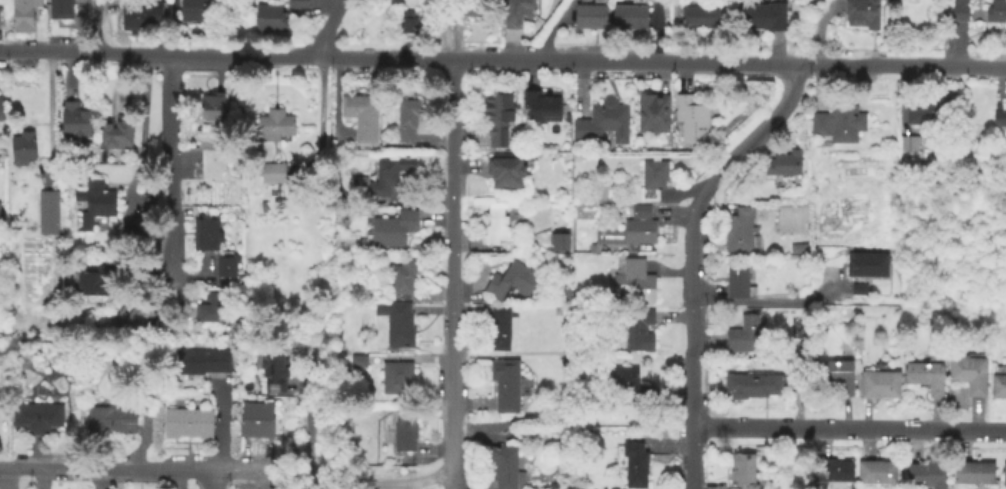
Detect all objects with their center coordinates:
building: (296, 4)
building: (476, 6)
building: (59, 8)
building: (194, 9)
building: (959, 9)
building: (996, 10)
building: (515, 12)
building: (861, 12)
building: (139, 13)
building: (22, 14)
building: (589, 14)
building: (699, 14)
building: (0, 15)
building: (628, 15)
building: (764, 15)
building: (268, 17)
building: (407, 20)
road: (99, 27)
road: (328, 27)
road: (821, 29)
road: (158, 55)
road: (661, 61)
building: (125, 99)
building: (541, 104)
building: (211, 105)
building: (1, 108)
building: (927, 111)
building: (652, 113)
building: (361, 114)
building: (497, 116)
building: (406, 117)
building: (998, 117)
road: (49, 118)
building: (690, 118)
building: (75, 120)
building: (601, 121)
building: (838, 121)
building: (274, 123)
building: (116, 134)
building: (908, 141)
building: (22, 147)
building: (238, 156)
building: (579, 157)
building: (987, 157)
building: (783, 162)
building: (272, 170)
building: (505, 170)
building: (653, 172)
building: (390, 174)
road: (136, 179)
road: (169, 195)
building: (92, 201)
building: (45, 211)
building: (128, 226)
building: (393, 226)
building: (630, 226)
building: (495, 228)
building: (740, 229)
building: (205, 232)
building: (558, 241)
building: (591, 247)
building: (797, 247)
road: (692, 259)
building: (865, 262)
building: (225, 265)
road: (452, 273)
building: (402, 277)
building: (634, 278)
building: (738, 278)
building: (510, 279)
building: (92, 280)
building: (858, 287)
building: (567, 293)
road: (767, 300)
building: (213, 306)
building: (135, 319)
building: (396, 322)
building: (500, 325)
building: (637, 328)
building: (744, 334)
building: (201, 359)
building: (356, 360)
building: (273, 367)
building: (968, 372)
building: (837, 373)
building: (925, 375)
building: (396, 376)
building: (795, 380)
building: (626, 381)
building: (998, 381)
building: (505, 383)
building: (750, 383)
building: (879, 383)
building: (38, 388)
building: (36, 415)
building: (246, 417)
building: (98, 418)
building: (263, 418)
building: (122, 419)
building: (175, 421)
building: (199, 421)
road: (308, 425)
road: (222, 426)
building: (404, 429)
road: (849, 429)
building: (635, 463)
building: (505, 466)
building: (742, 469)
road: (144, 470)
building: (835, 470)
building: (876, 470)
building: (973, 471)
building: (1004, 472)
building: (926, 473)
road: (213, 480)
road: (370, 484)

